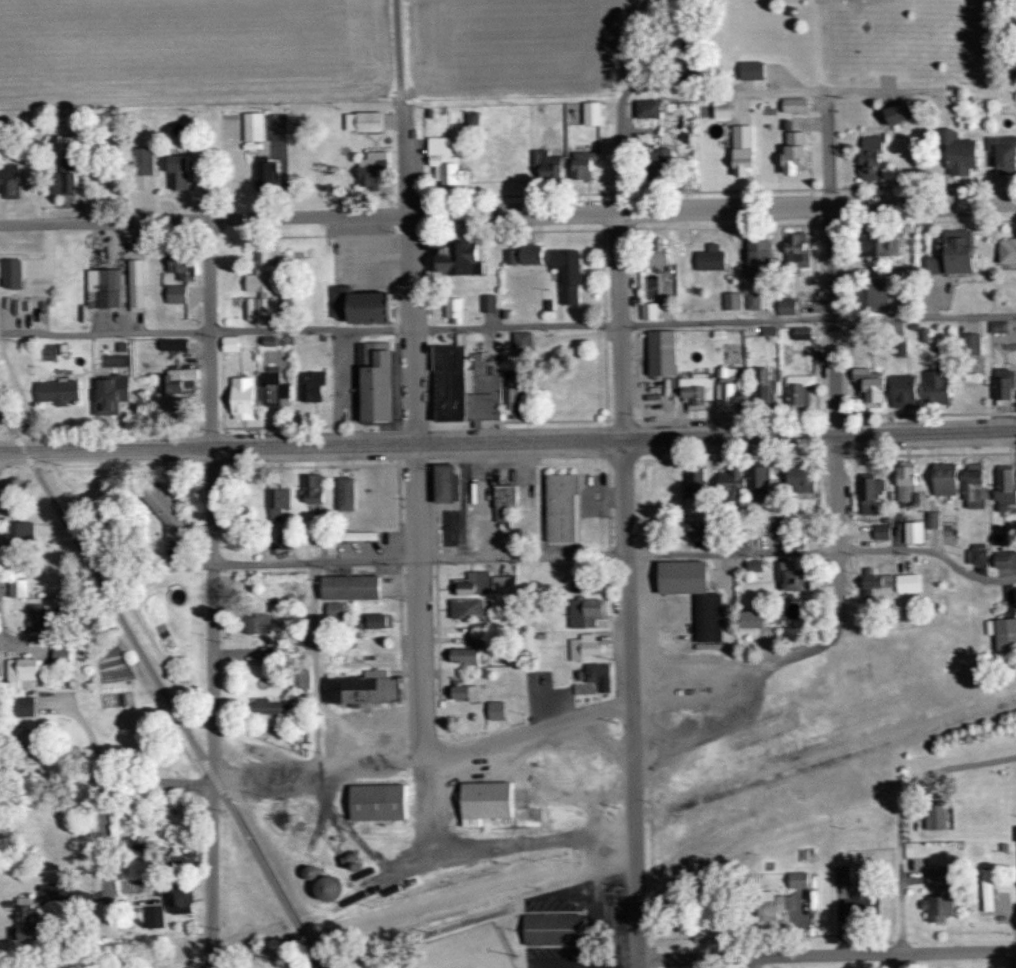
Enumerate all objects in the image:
road: (675, 27)
road: (399, 50)
building: (750, 70)
road: (798, 88)
road: (885, 91)
road: (771, 92)
building: (793, 104)
building: (647, 108)
building: (721, 109)
building: (898, 112)
building: (591, 113)
building: (471, 118)
road: (617, 119)
building: (362, 121)
building: (252, 126)
building: (741, 150)
road: (828, 150)
building: (794, 151)
building: (957, 151)
building: (1003, 153)
building: (869, 157)
road: (407, 159)
building: (658, 159)
building: (142, 160)
building: (444, 161)
building: (545, 163)
building: (583, 164)
building: (369, 169)
building: (176, 172)
building: (264, 173)
building: (64, 176)
building: (8, 180)
road: (713, 210)
road: (204, 221)
road: (360, 227)
building: (878, 245)
building: (796, 249)
building: (1007, 249)
building: (657, 251)
building: (951, 253)
building: (530, 254)
building: (510, 256)
building: (458, 258)
building: (709, 258)
parking lot: (359, 262)
building: (180, 263)
road: (377, 269)
road: (398, 269)
building: (10, 272)
building: (566, 273)
building: (262, 281)
building: (135, 284)
building: (102, 287)
building: (175, 294)
building: (340, 300)
building: (731, 300)
building: (752, 301)
building: (763, 301)
building: (487, 303)
building: (785, 306)
building: (369, 307)
building: (248, 308)
road: (398, 308)
building: (454, 310)
building: (648, 311)
road: (835, 321)
road: (510, 327)
building: (768, 330)
road: (413, 332)
building: (801, 333)
road: (210, 334)
building: (268, 340)
building: (522, 341)
building: (229, 343)
building: (970, 343)
building: (172, 344)
building: (660, 352)
road: (342, 360)
parking lot: (344, 366)
building: (177, 380)
building: (374, 380)
building: (449, 382)
building: (1003, 383)
building: (311, 385)
road: (396, 385)
building: (763, 386)
building: (869, 387)
building: (934, 387)
building: (272, 388)
building: (694, 388)
building: (797, 388)
building: (725, 389)
building: (482, 390)
building: (55, 391)
building: (903, 391)
building: (512, 392)
road: (342, 393)
building: (109, 394)
building: (241, 398)
road: (931, 414)
road: (837, 416)
road: (754, 417)
road: (7, 422)
road: (519, 422)
road: (628, 422)
road: (661, 424)
road: (413, 425)
road: (277, 426)
road: (359, 426)
road: (371, 426)
road: (390, 426)
road: (215, 428)
road: (819, 437)
road: (417, 447)
road: (105, 450)
road: (23, 451)
road: (930, 454)
road: (503, 455)
road: (835, 457)
road: (731, 459)
road: (483, 461)
road: (573, 462)
road: (621, 462)
road: (415, 463)
road: (312, 466)
road: (216, 467)
road: (607, 474)
building: (800, 478)
building: (758, 479)
building: (944, 479)
building: (905, 480)
building: (446, 482)
building: (694, 482)
building: (731, 483)
building: (973, 486)
building: (1004, 486)
building: (311, 489)
road: (589, 489)
road: (837, 492)
building: (869, 492)
building: (344, 493)
parking lot: (592, 496)
road: (607, 497)
road: (463, 501)
building: (278, 502)
road: (643, 504)
parking lot: (481, 505)
building: (560, 508)
building: (164, 511)
building: (931, 519)
building: (773, 526)
parking lot: (448, 527)
road: (607, 527)
building: (21, 530)
building: (688, 530)
building: (881, 531)
building: (912, 532)
building: (356, 535)
building: (282, 541)
parking lot: (369, 547)
building: (976, 553)
road: (608, 555)
road: (618, 555)
road: (644, 555)
building: (1005, 559)
building: (754, 565)
building: (789, 576)
road: (839, 580)
building: (887, 580)
building: (868, 581)
building: (906, 582)
building: (472, 584)
building: (499, 585)
building: (349, 586)
building: (16, 587)
road: (626, 590)
road: (417, 596)
building: (465, 608)
building: (334, 609)
building: (584, 612)
road: (118, 614)
building: (36, 617)
building: (708, 618)
building: (752, 619)
building: (373, 621)
building: (258, 625)
road: (609, 630)
building: (1005, 633)
building: (476, 635)
road: (34, 638)
road: (18, 645)
building: (583, 646)
road: (804, 648)
road: (646, 652)
building: (60, 653)
building: (265, 654)
building: (461, 656)
road: (313, 667)
building: (21, 670)
building: (598, 673)
building: (578, 674)
road: (688, 676)
building: (300, 679)
building: (361, 690)
building: (463, 690)
parking lot: (545, 695)
road: (605, 698)
road: (608, 702)
building: (23, 706)
road: (214, 707)
building: (265, 707)
road: (546, 708)
building: (494, 710)
parking lot: (361, 720)
road: (363, 733)
road: (524, 733)
road: (581, 737)
road: (94, 742)
building: (27, 746)
road: (648, 751)
road: (649, 767)
road: (320, 772)
road: (213, 778)
road: (165, 784)
road: (549, 791)
road: (428, 797)
building: (484, 802)
building: (378, 803)
building: (935, 815)
road: (345, 824)
road: (507, 844)
road: (105, 852)
road: (650, 863)
building: (841, 875)
building: (936, 876)
building: (797, 879)
road: (615, 880)
road: (270, 882)
building: (324, 888)
building: (986, 890)
building: (179, 898)
building: (788, 902)
building: (936, 908)
building: (769, 910)
building: (858, 911)
park: (494, 915)
building: (153, 917)
building: (22, 920)
road: (631, 921)
road: (626, 922)
road: (595, 924)
parking lot: (591, 925)
building: (553, 928)
park: (463, 951)
road: (826, 955)
road: (616, 958)
road: (652, 959)
road: (1013, 959)
road: (900, 961)
road: (567, 964)
road: (652, 967)

